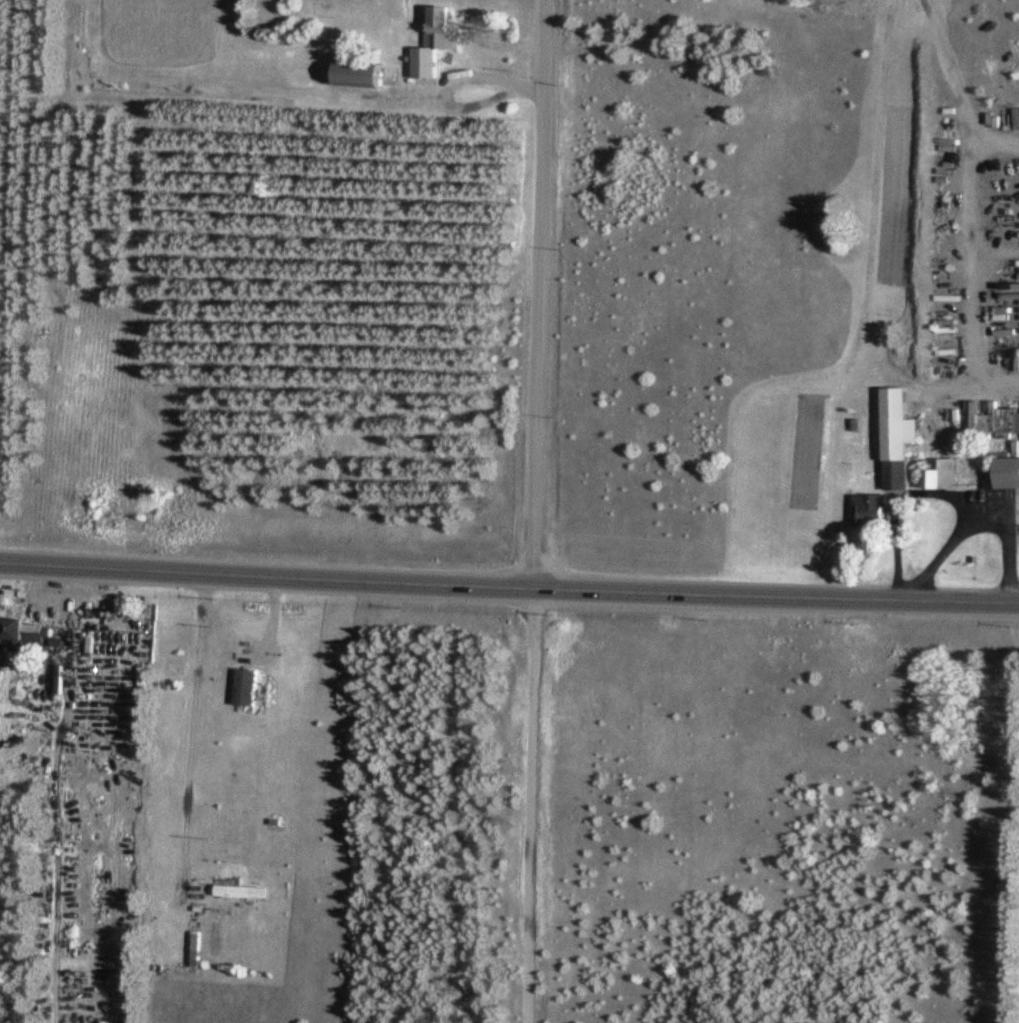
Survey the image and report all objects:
building: (431, 41)
building: (359, 72)
road: (443, 83)
road: (953, 91)
road: (872, 255)
road: (977, 256)
road: (734, 406)
building: (892, 437)
building: (1000, 473)
building: (939, 474)
parking lot: (982, 503)
road: (994, 506)
road: (534, 511)
building: (863, 511)
road: (893, 544)
road: (1006, 551)
road: (509, 586)
road: (272, 625)
building: (23, 633)
building: (246, 682)
road: (193, 743)
road: (55, 793)
building: (241, 890)

